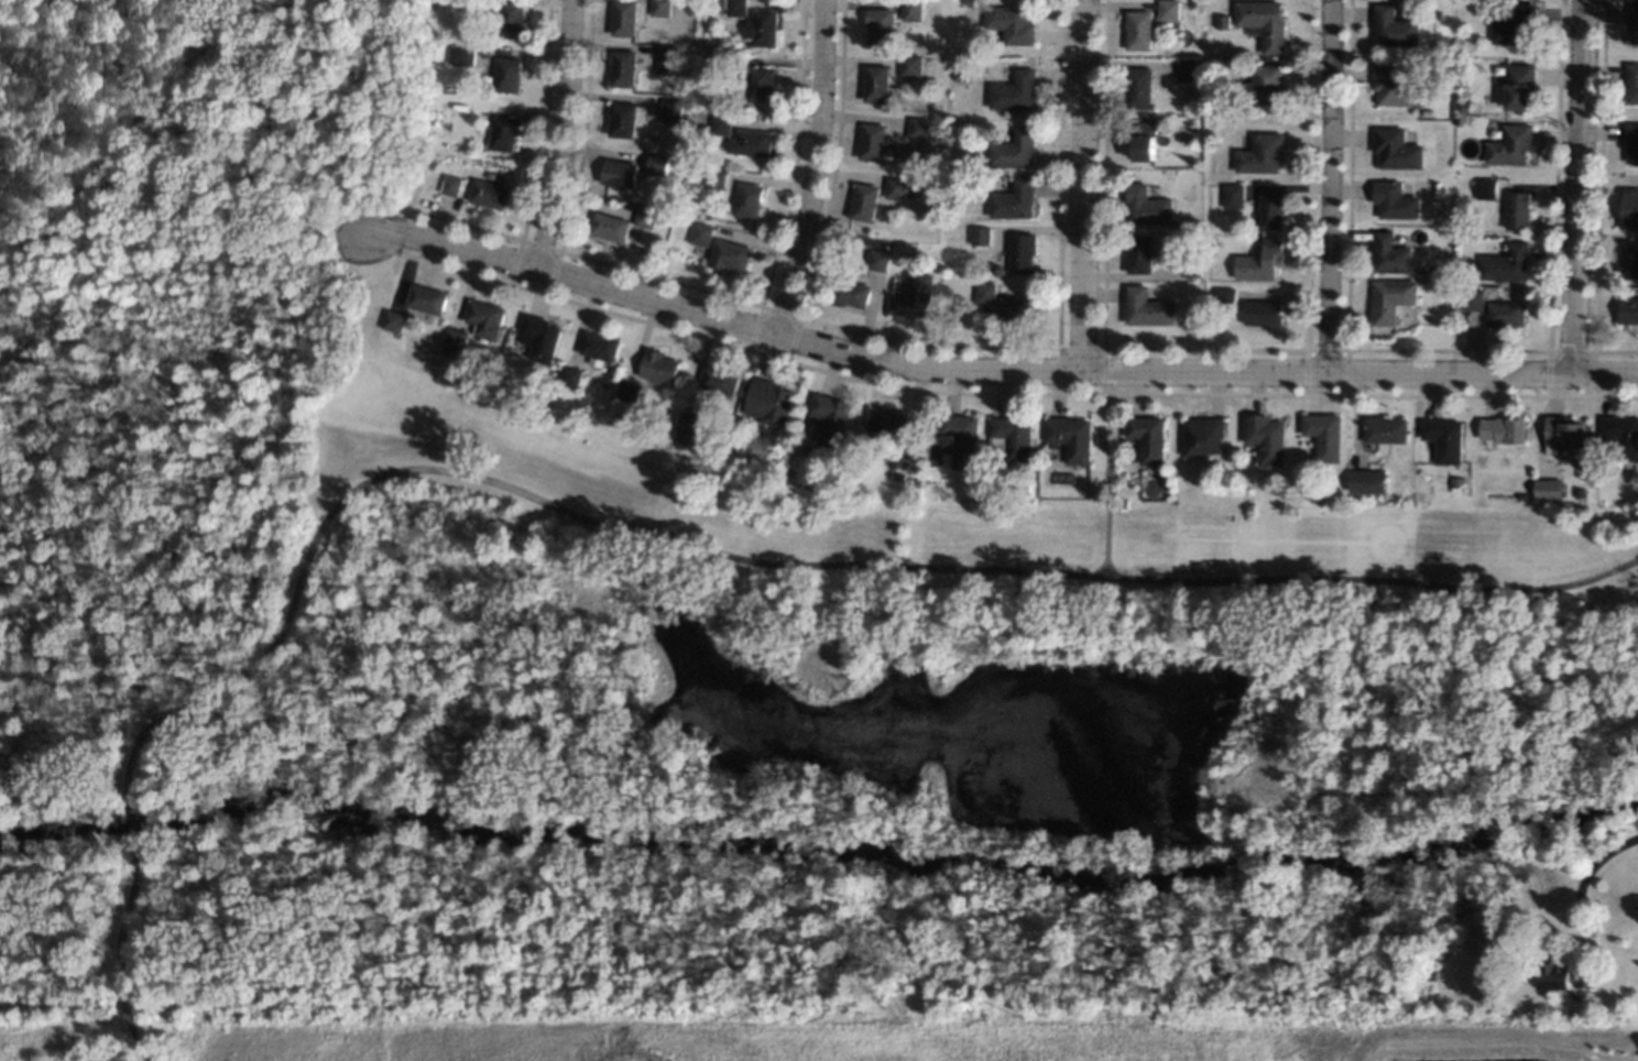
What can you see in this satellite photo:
building: (969, 1)
building: (717, 2)
building: (473, 6)
building: (660, 7)
building: (736, 7)
building: (1168, 9)
building: (910, 10)
building: (1434, 14)
building: (623, 17)
building: (511, 18)
building: (1222, 21)
building: (1263, 21)
building: (1632, 22)
building: (1011, 23)
building: (1513, 25)
building: (880, 26)
building: (1391, 26)
building: (762, 28)
building: (1138, 29)
building: (461, 55)
building: (667, 58)
building: (909, 66)
building: (622, 67)
building: (1186, 70)
building: (506, 74)
building: (959, 78)
building: (761, 83)
building: (875, 83)
building: (1631, 83)
building: (1262, 85)
building: (1393, 86)
building: (1516, 86)
building: (1139, 87)
building: (1013, 90)
building: (1460, 107)
building: (670, 109)
building: (1424, 111)
building: (621, 118)
building: (430, 120)
building: (720, 123)
building: (675, 125)
building: (917, 128)
building: (503, 132)
road: (565, 134)
building: (1143, 138)
building: (1630, 140)
building: (871, 141)
building: (753, 142)
building: (1507, 144)
building: (1395, 147)
building: (1014, 149)
building: (1259, 152)
building: (657, 164)
building: (429, 165)
road: (811, 168)
building: (620, 172)
building: (716, 178)
building: (955, 181)
building: (449, 184)
road: (1082, 184)
road: (1332, 185)
road: (1574, 185)
building: (895, 187)
building: (1483, 187)
building: (488, 193)
building: (1232, 195)
building: (746, 199)
building: (863, 200)
building: (1013, 200)
building: (1393, 200)
building: (1431, 204)
building: (1147, 206)
building: (1629, 208)
building: (1269, 209)
building: (1515, 209)
building: (645, 216)
building: (608, 226)
building: (699, 232)
building: (980, 234)
building: (1022, 252)
building: (1138, 253)
building: (1388, 253)
building: (728, 254)
building: (876, 259)
building: (1628, 259)
building: (1259, 261)
building: (1505, 263)
building: (1190, 265)
building: (849, 291)
building: (984, 292)
building: (911, 295)
building: (427, 297)
building: (1225, 297)
building: (1390, 298)
building: (1471, 299)
building: (1147, 307)
building: (1015, 308)
building: (1627, 309)
building: (1263, 311)
building: (1506, 314)
building: (484, 317)
building: (394, 319)
building: (540, 336)
building: (456, 340)
building: (600, 344)
building: (659, 365)
road: (993, 367)
building: (571, 375)
building: (719, 378)
building: (630, 390)
building: (769, 401)
building: (830, 417)
building: (886, 419)
building: (688, 422)
building: (1386, 429)
building: (1504, 429)
building: (1562, 431)
building: (1202, 435)
building: (1621, 435)
building: (1012, 436)
building: (1071, 436)
building: (1325, 436)
building: (1266, 437)
building: (961, 438)
building: (1148, 438)
building: (1442, 438)
building: (878, 439)
building: (738, 445)
building: (899, 456)
road: (1105, 472)
building: (1368, 480)
building: (916, 481)
building: (1548, 488)
building: (1580, 492)
road: (784, 562)
park: (604, 621)
road: (131, 825)
river: (816, 844)
road: (1596, 863)
road: (117, 956)
building: (1493, 972)
building: (1429, 974)
building: (1563, 976)

